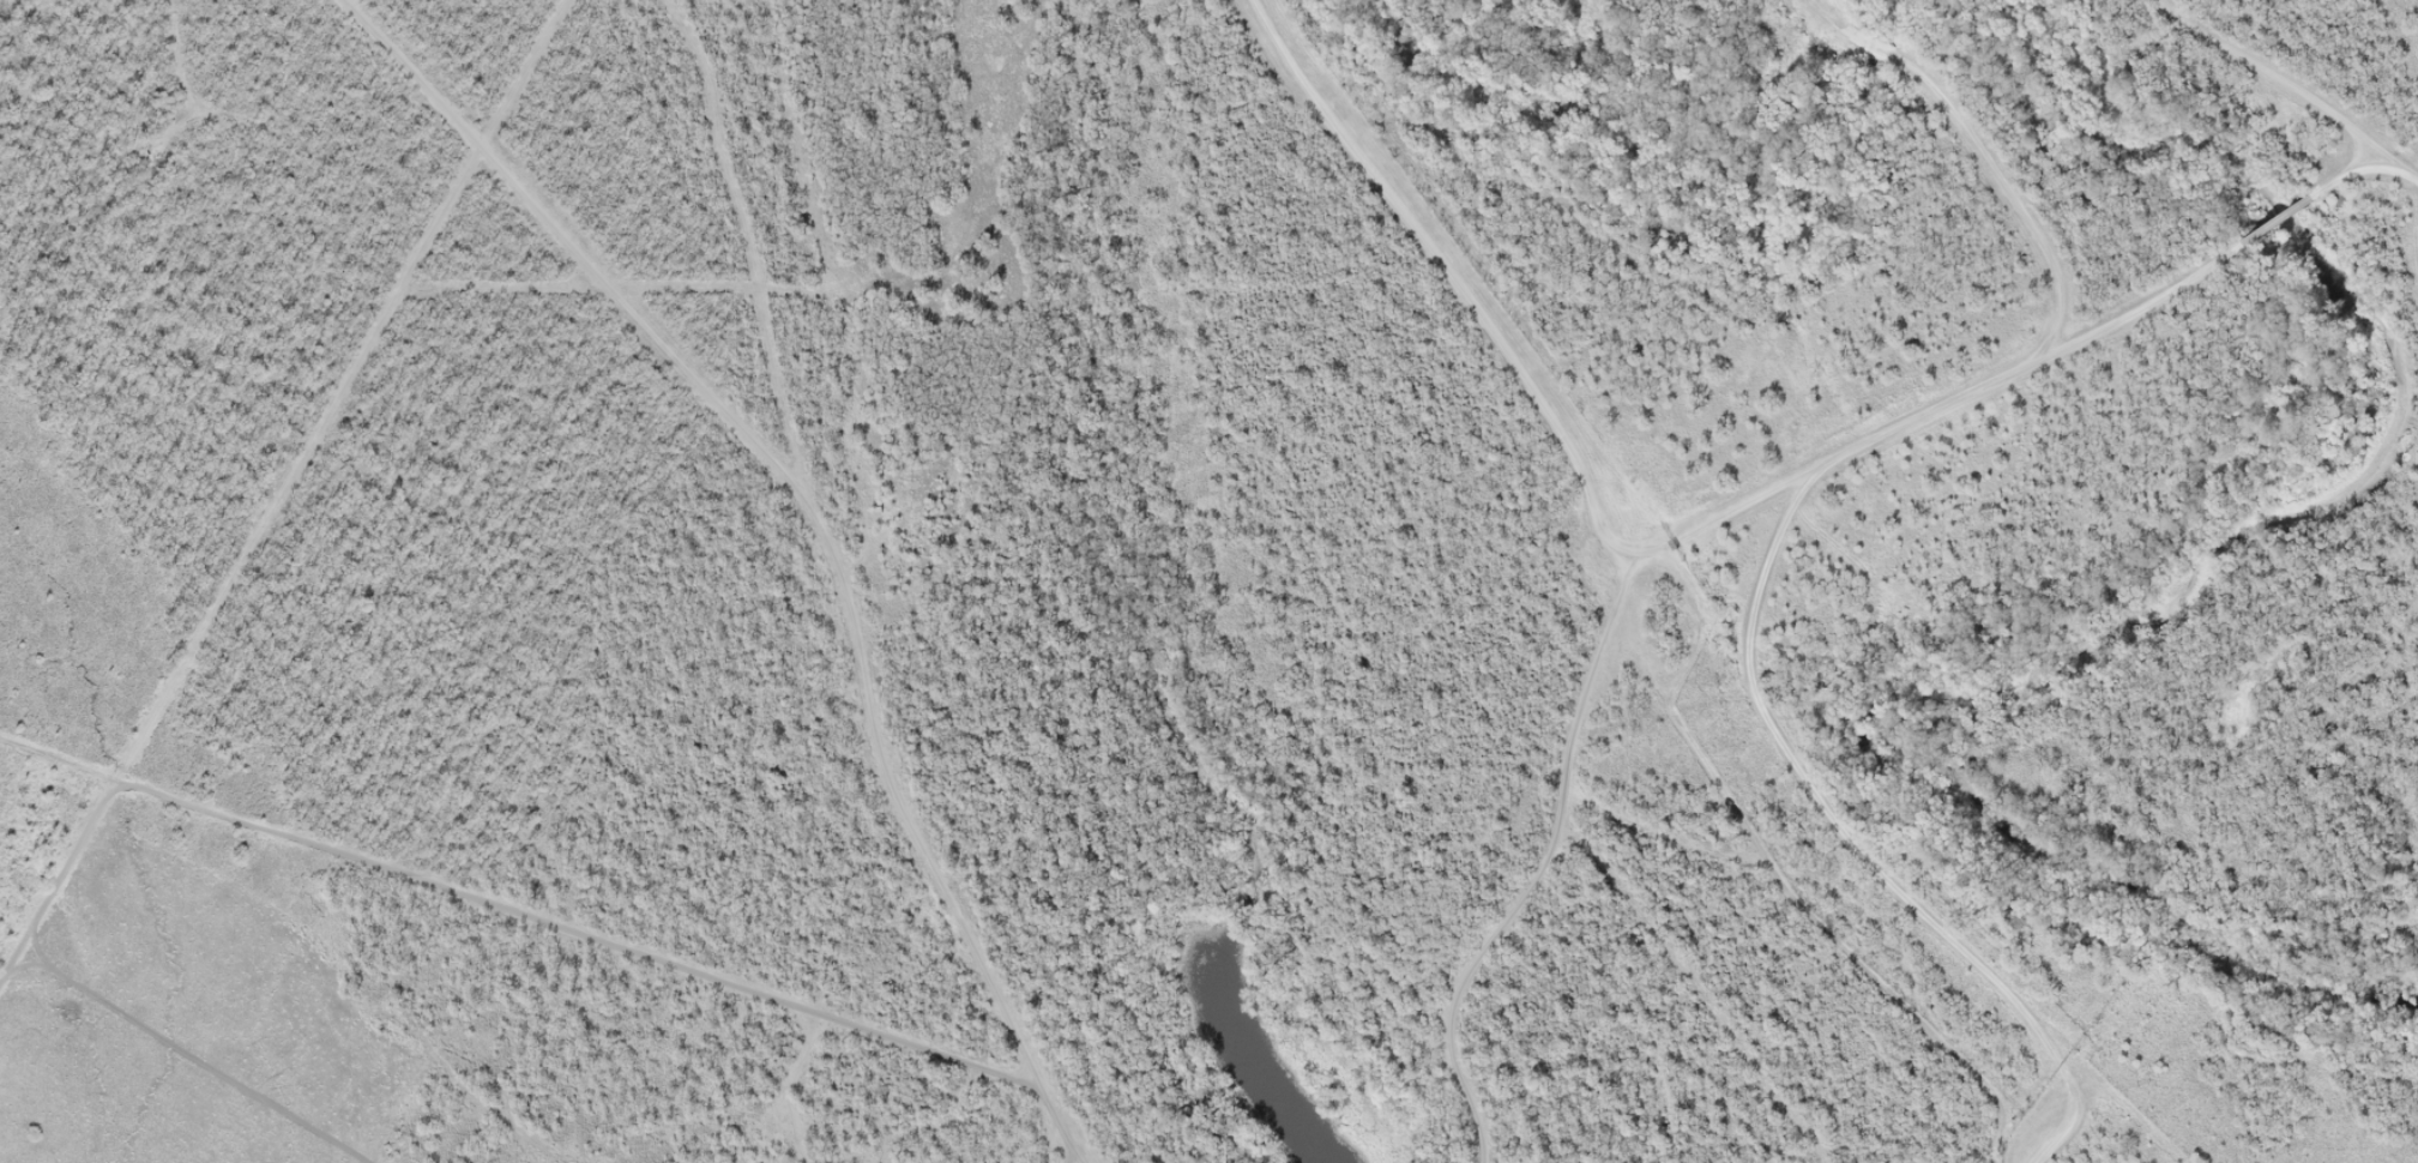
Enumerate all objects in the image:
road: (2360, 169)
river: (1689, 203)
road: (2275, 219)
road: (1515, 368)
river: (2153, 623)
road: (1747, 633)

